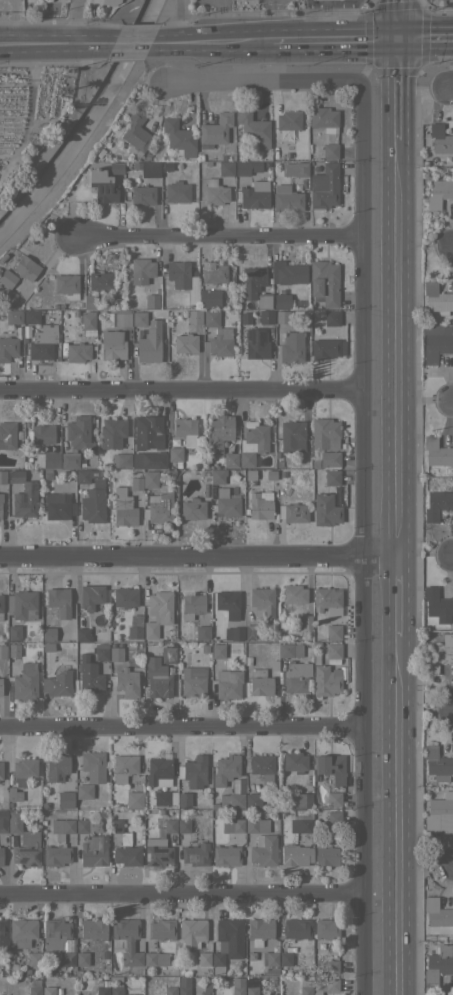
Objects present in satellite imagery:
building: (109, 2)
road: (312, 2)
road: (71, 16)
road: (174, 18)
road: (395, 19)
road: (111, 20)
road: (220, 21)
road: (277, 21)
road: (349, 21)
road: (55, 33)
road: (424, 39)
road: (333, 40)
road: (245, 43)
road: (184, 44)
road: (129, 45)
road: (54, 51)
road: (264, 84)
road: (451, 86)
road: (395, 89)
building: (324, 119)
building: (285, 124)
building: (253, 128)
building: (215, 130)
building: (136, 133)
building: (179, 138)
building: (440, 139)
building: (330, 150)
building: (424, 162)
building: (116, 167)
building: (246, 167)
building: (148, 168)
building: (226, 168)
building: (295, 169)
building: (427, 170)
building: (102, 185)
building: (324, 186)
building: (177, 191)
building: (215, 192)
building: (438, 192)
building: (143, 194)
building: (255, 195)
building: (286, 198)
road: (217, 237)
road: (452, 248)
building: (26, 267)
building: (144, 269)
building: (178, 271)
building: (287, 272)
building: (214, 273)
building: (193, 275)
building: (7, 278)
building: (100, 280)
building: (252, 281)
building: (324, 282)
building: (66, 285)
building: (192, 290)
building: (437, 298)
building: (209, 299)
building: (163, 300)
building: (264, 300)
building: (88, 301)
building: (282, 301)
building: (61, 305)
building: (55, 306)
building: (241, 306)
building: (70, 311)
building: (163, 313)
building: (14, 316)
building: (31, 316)
building: (194, 316)
building: (266, 316)
building: (282, 316)
building: (211, 317)
building: (331, 317)
building: (118, 318)
building: (139, 318)
building: (246, 318)
building: (88, 320)
building: (19, 331)
building: (26, 331)
building: (164, 332)
building: (220, 341)
building: (436, 341)
building: (42, 342)
building: (150, 342)
building: (185, 343)
building: (256, 343)
building: (113, 344)
building: (291, 346)
road: (396, 347)
building: (8, 348)
building: (327, 348)
building: (57, 351)
building: (77, 352)
road: (181, 389)
road: (451, 401)
building: (185, 430)
building: (79, 432)
building: (148, 432)
building: (219, 432)
building: (111, 433)
building: (325, 433)
building: (42, 434)
building: (7, 435)
building: (292, 436)
building: (252, 442)
building: (54, 447)
building: (46, 448)
building: (436, 452)
building: (276, 454)
building: (175, 455)
building: (330, 458)
building: (47, 459)
building: (154, 459)
building: (69, 460)
building: (92, 460)
building: (121, 460)
building: (231, 460)
building: (315, 463)
building: (137, 471)
building: (172, 473)
building: (271, 474)
building: (282, 474)
building: (47, 475)
building: (85, 475)
building: (251, 475)
building: (3, 476)
building: (217, 476)
building: (332, 477)
building: (150, 479)
building: (180, 482)
building: (207, 489)
building: (23, 495)
building: (93, 502)
building: (227, 502)
building: (126, 504)
building: (161, 504)
building: (437, 504)
building: (260, 505)
building: (2, 506)
building: (58, 506)
building: (193, 509)
building: (325, 509)
building: (293, 512)
road: (363, 540)
road: (451, 555)
road: (198, 557)
building: (294, 594)
road: (397, 595)
building: (91, 596)
building: (125, 597)
building: (59, 600)
building: (327, 600)
building: (262, 602)
building: (228, 603)
building: (161, 604)
building: (1, 605)
building: (22, 605)
building: (192, 605)
building: (437, 605)
building: (306, 622)
building: (134, 626)
building: (150, 630)
building: (249, 631)
building: (202, 632)
building: (333, 632)
building: (14, 633)
building: (233, 633)
building: (259, 633)
building: (49, 634)
building: (82, 634)
building: (316, 642)
building: (45, 647)
building: (203, 648)
building: (15, 649)
building: (2, 650)
building: (333, 650)
building: (100, 651)
building: (218, 651)
building: (115, 654)
building: (273, 654)
building: (438, 654)
building: (168, 655)
building: (186, 655)
building: (316, 656)
building: (247, 659)
building: (260, 659)
building: (5, 662)
building: (334, 663)
building: (16, 664)
building: (293, 669)
building: (88, 675)
building: (157, 678)
building: (327, 679)
building: (193, 680)
building: (25, 681)
building: (127, 682)
building: (259, 682)
building: (57, 683)
building: (228, 683)
building: (1, 686)
road: (427, 709)
road: (181, 728)
road: (241, 752)
building: (436, 761)
building: (294, 762)
building: (93, 765)
building: (263, 766)
building: (56, 767)
building: (125, 767)
building: (329, 767)
building: (225, 769)
building: (1, 770)
building: (23, 770)
building: (192, 778)
building: (151, 780)
building: (241, 786)
building: (83, 791)
building: (135, 792)
building: (13, 794)
building: (119, 796)
building: (333, 798)
building: (65, 799)
building: (231, 800)
building: (253, 800)
building: (304, 800)
building: (44, 804)
building: (78, 805)
building: (438, 809)
building: (311, 811)
building: (111, 814)
road: (400, 815)
building: (334, 817)
building: (3, 825)
building: (62, 825)
building: (88, 825)
building: (183, 825)
building: (237, 825)
building: (256, 825)
building: (167, 827)
building: (302, 827)
building: (23, 842)
building: (124, 845)
building: (263, 849)
building: (93, 850)
building: (157, 851)
building: (195, 854)
building: (56, 855)
building: (226, 855)
building: (295, 855)
building: (326, 855)
building: (1, 856)
road: (452, 864)
road: (182, 891)
building: (438, 916)
building: (93, 928)
building: (296, 928)
building: (326, 928)
building: (161, 929)
building: (259, 930)
building: (22, 931)
building: (55, 933)
building: (192, 933)
building: (2, 934)
building: (230, 936)
building: (126, 940)
building: (9, 949)
building: (33, 958)
building: (82, 958)
building: (203, 958)
building: (271, 958)
building: (285, 958)
building: (155, 959)
building: (68, 960)
building: (217, 962)
building: (331, 966)
building: (438, 966)
building: (26, 971)
building: (77, 971)
building: (271, 971)
building: (20, 973)
building: (250, 980)
building: (99, 982)
building: (105, 982)
building: (326, 984)
building: (305, 987)
building: (116, 989)
building: (34, 990)
building: (48, 990)
building: (102, 990)
building: (170, 990)
building: (183, 990)
building: (237, 990)
building: (251, 990)
building: (204, 993)
building: (132, 994)
building: (325, 994)

